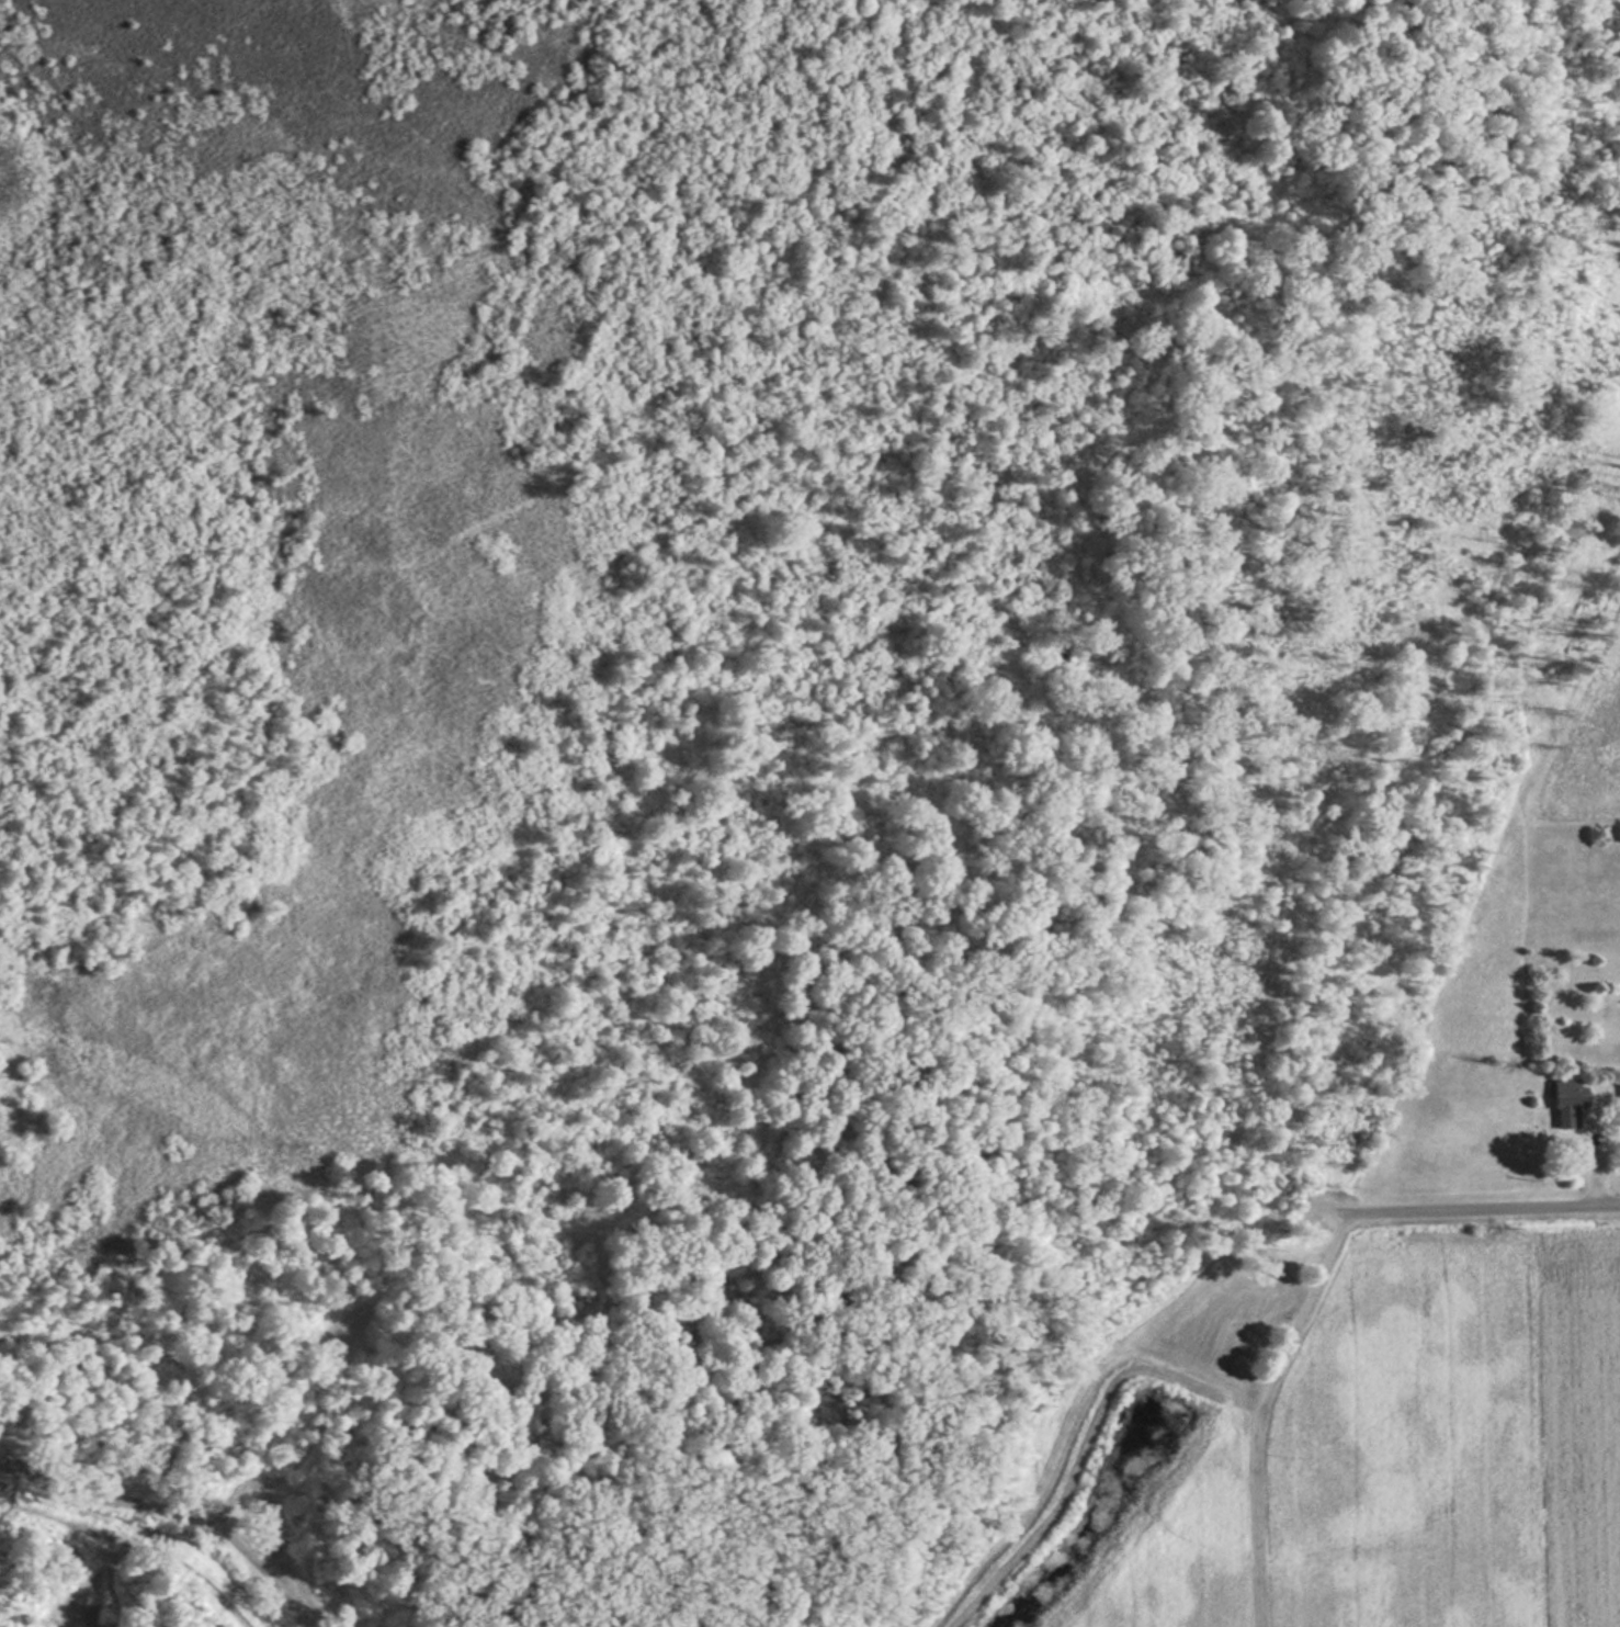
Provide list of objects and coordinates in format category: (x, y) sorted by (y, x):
building: (1619, 1088)
building: (1567, 1101)
road: (1468, 1210)
road: (1256, 1409)

